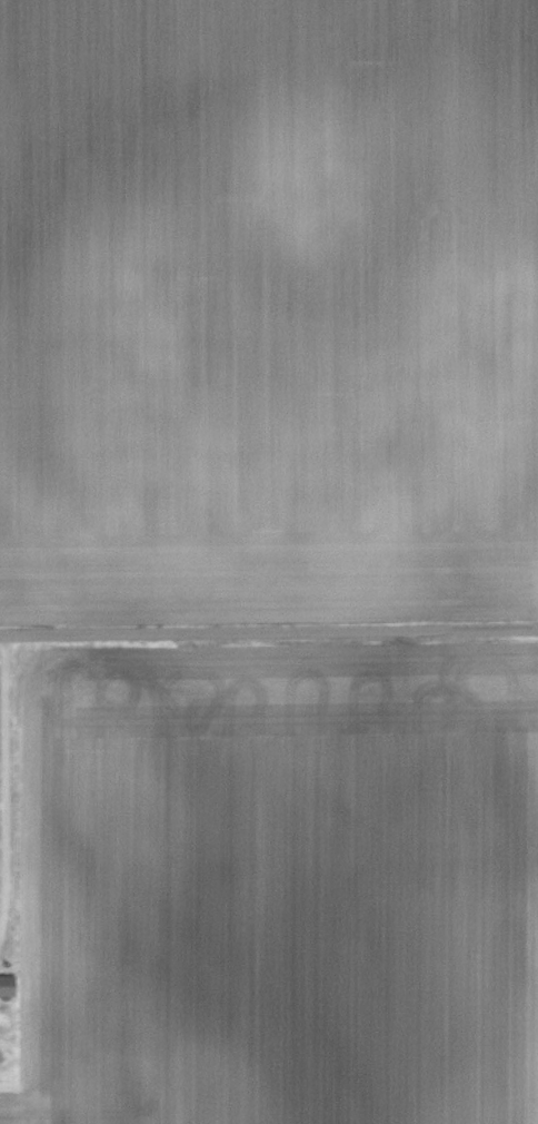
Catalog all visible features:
road: (268, 630)
road: (1, 771)
road: (1, 923)
building: (9, 984)

